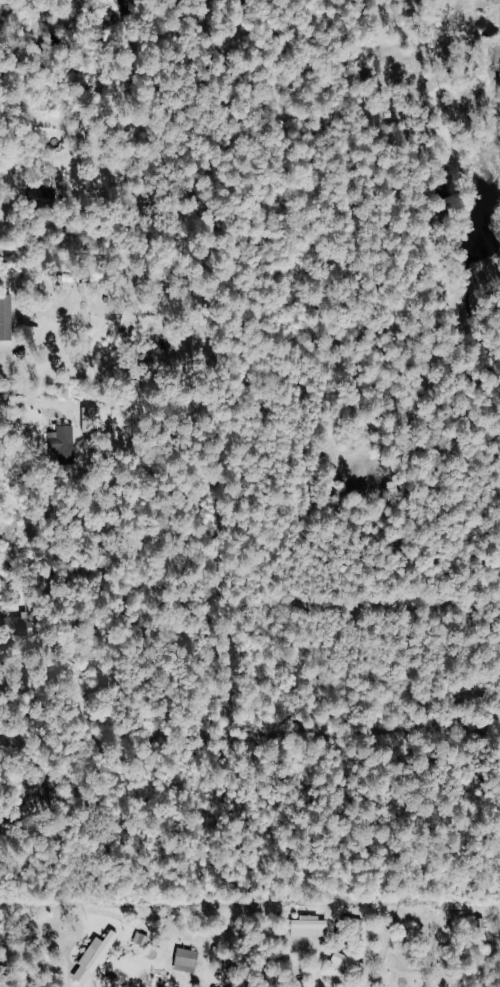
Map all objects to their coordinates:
road: (7, 195)
building: (41, 197)
building: (6, 317)
road: (20, 404)
building: (95, 420)
building: (62, 442)
building: (16, 627)
building: (42, 786)
road: (16, 827)
road: (61, 924)
building: (310, 926)
building: (94, 957)
building: (186, 960)
building: (349, 964)
road: (307, 965)

